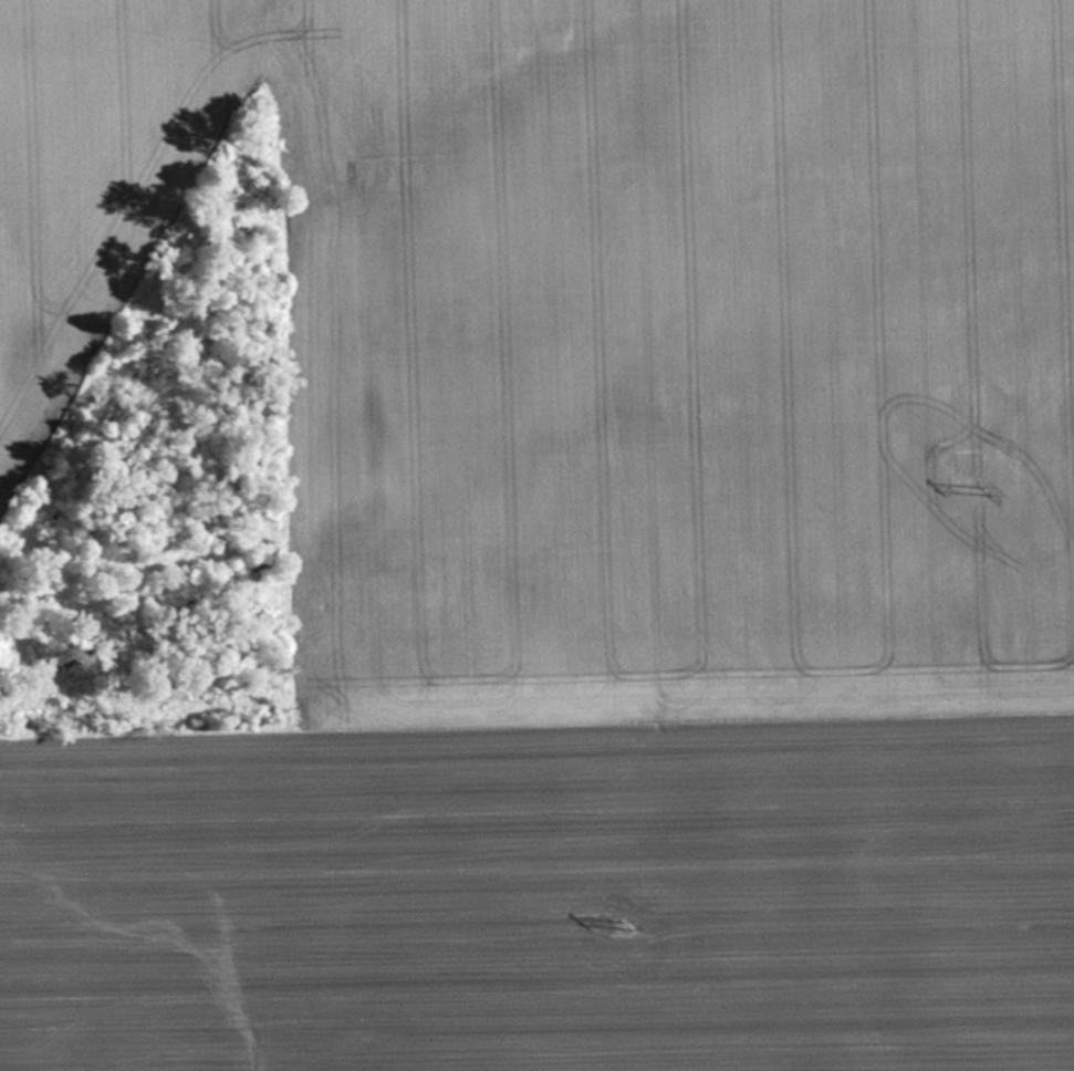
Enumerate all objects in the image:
power tower: (987, 499)
power tower: (626, 927)

